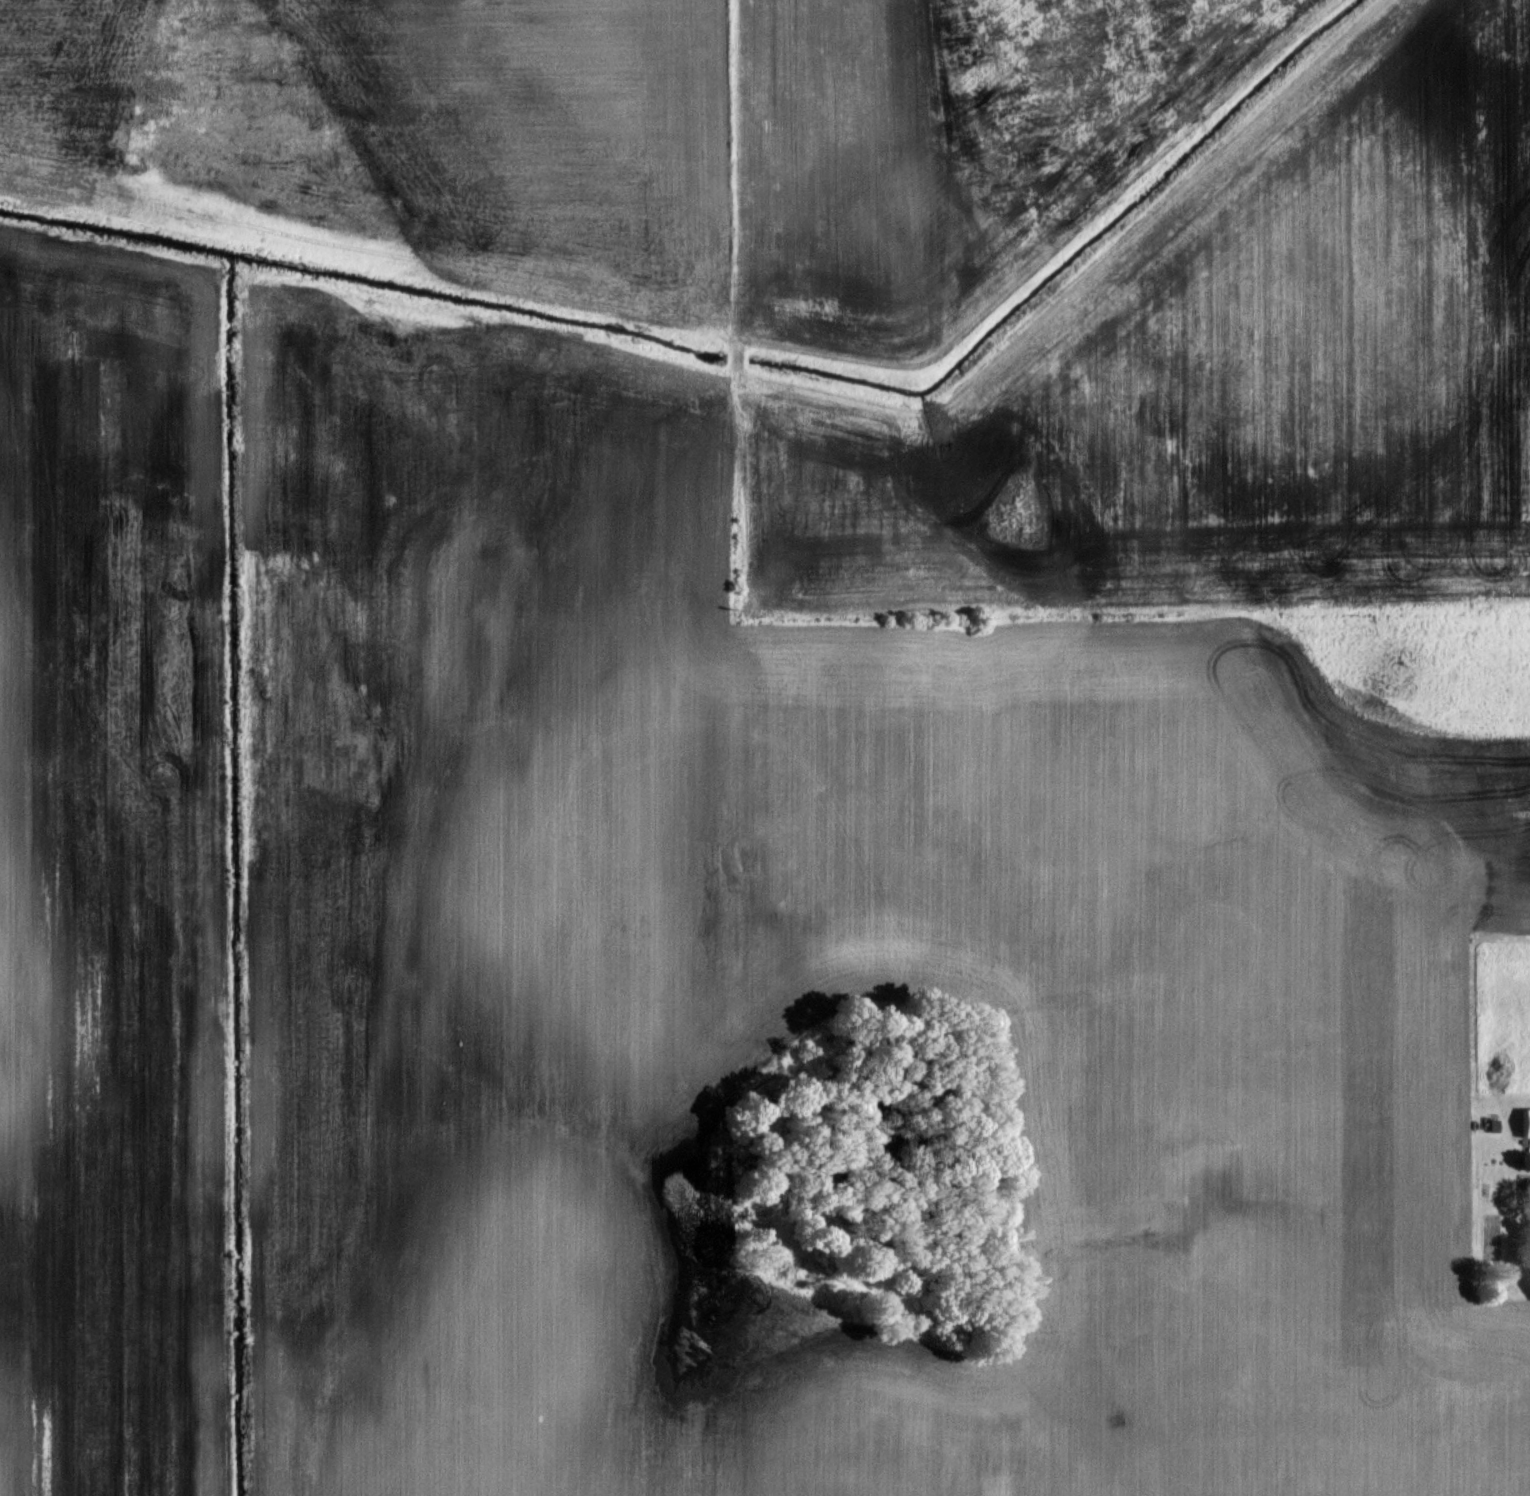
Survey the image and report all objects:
building: (1522, 1121)

